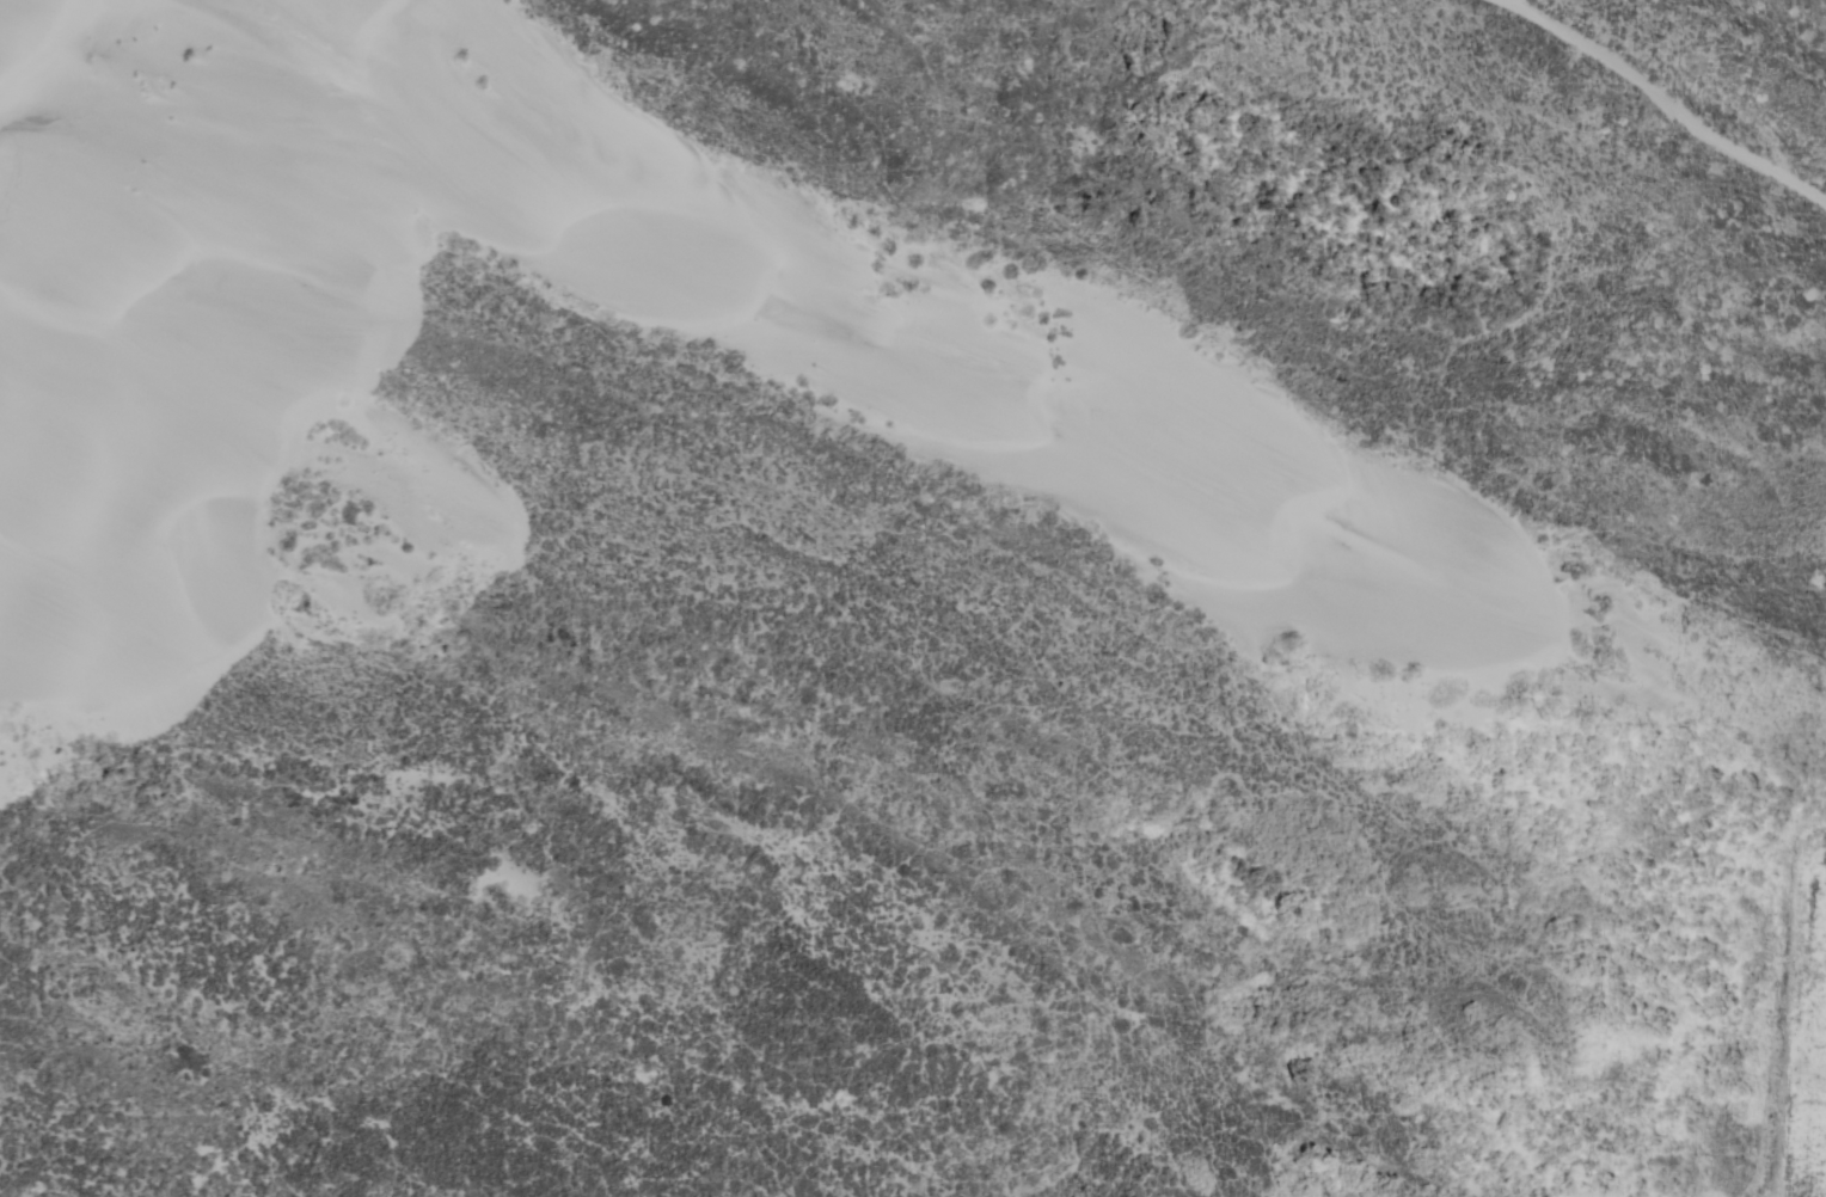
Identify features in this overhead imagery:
road: (1666, 99)
park: (929, 593)
crop: (1814, 969)
crop: (1808, 1147)

